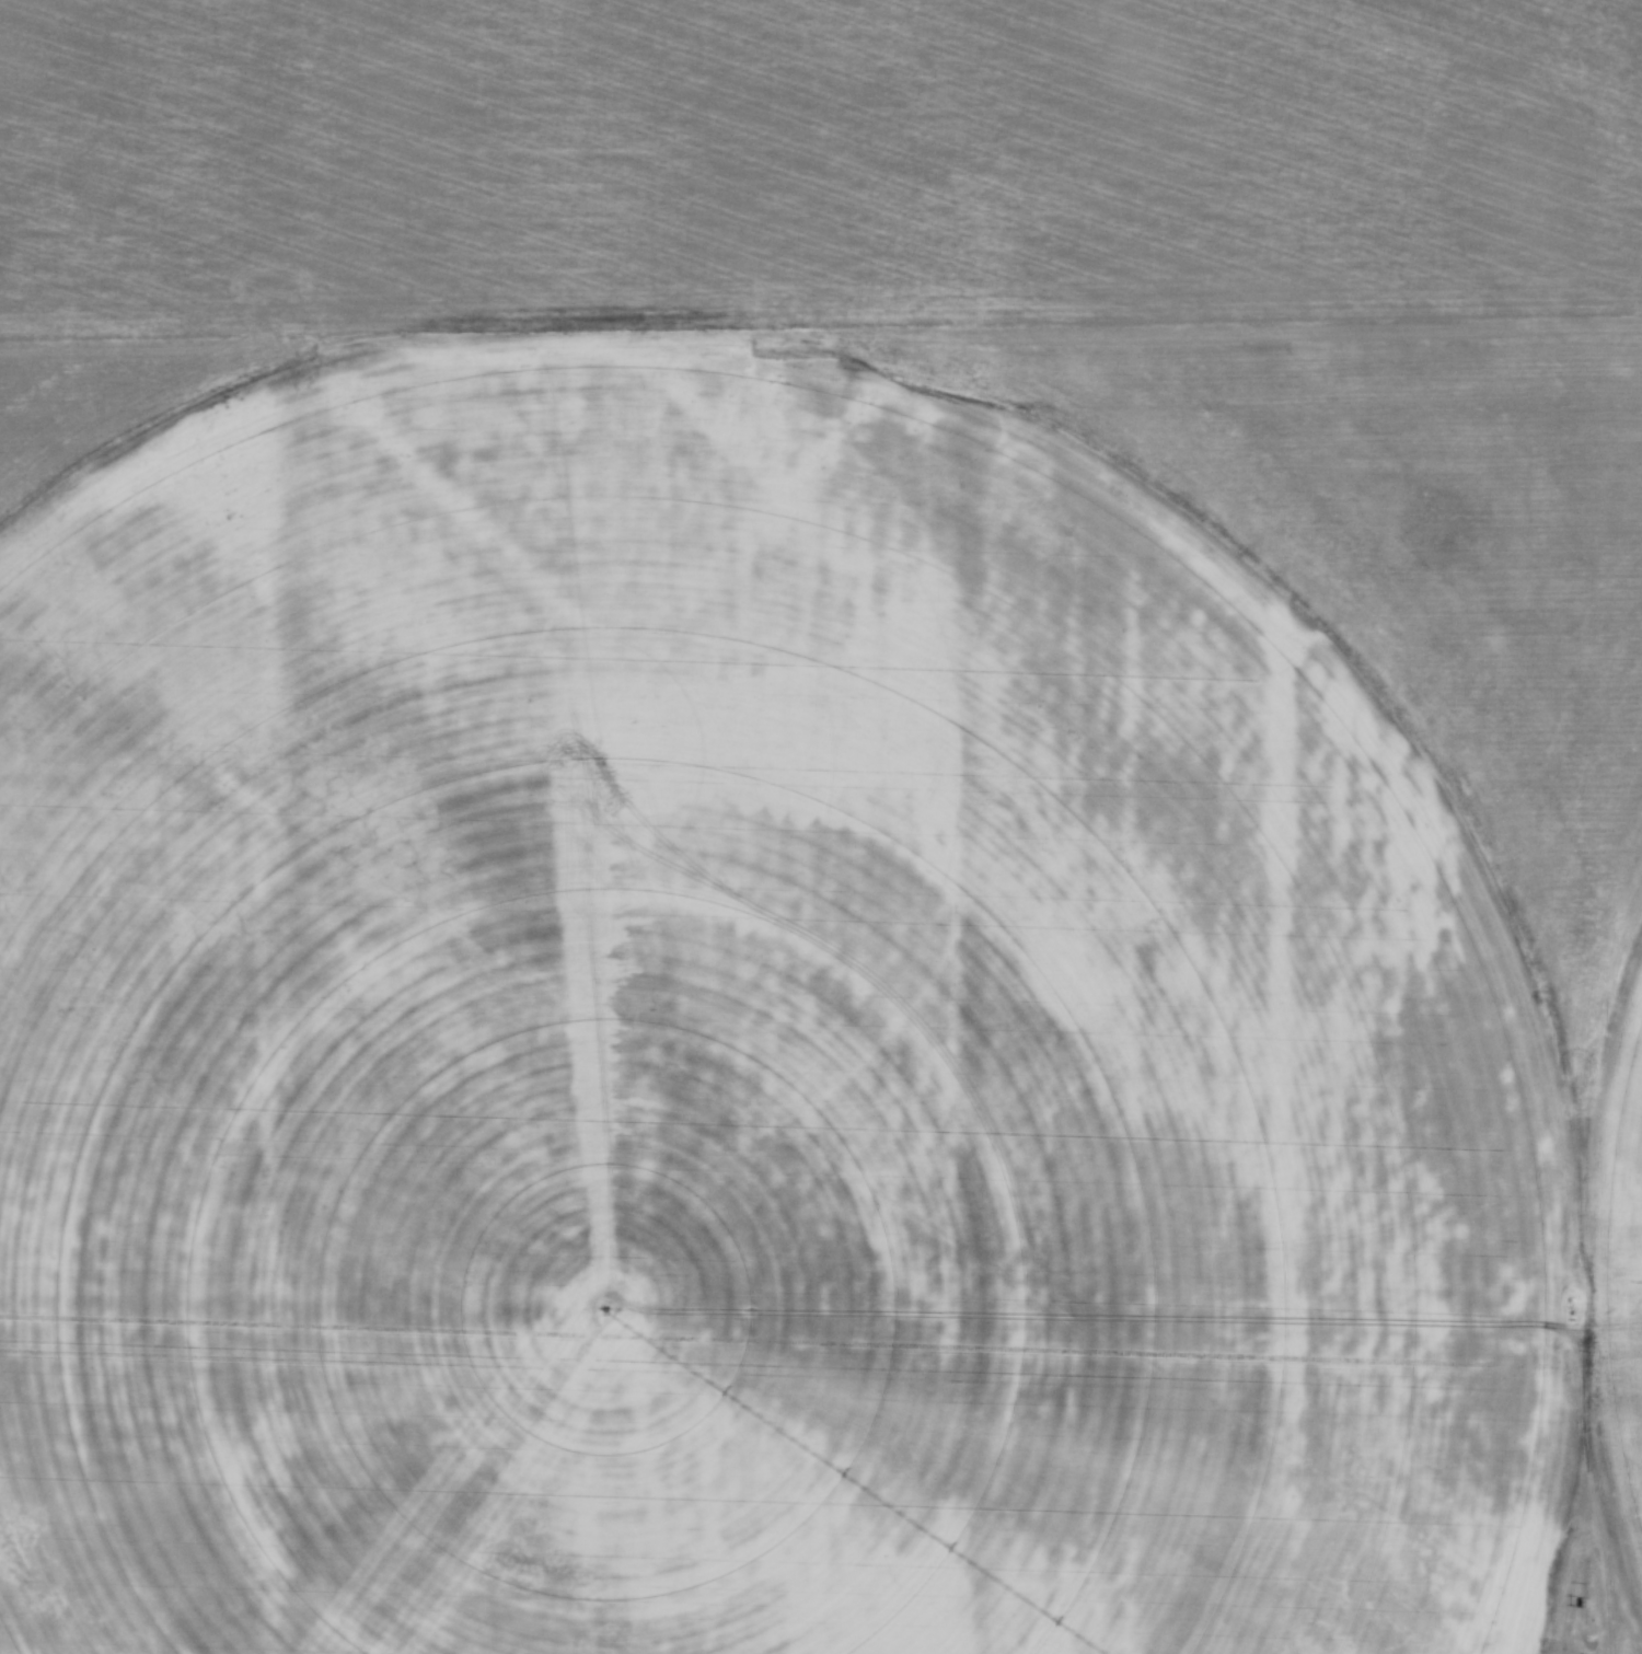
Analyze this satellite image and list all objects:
crop: (821, 826)

